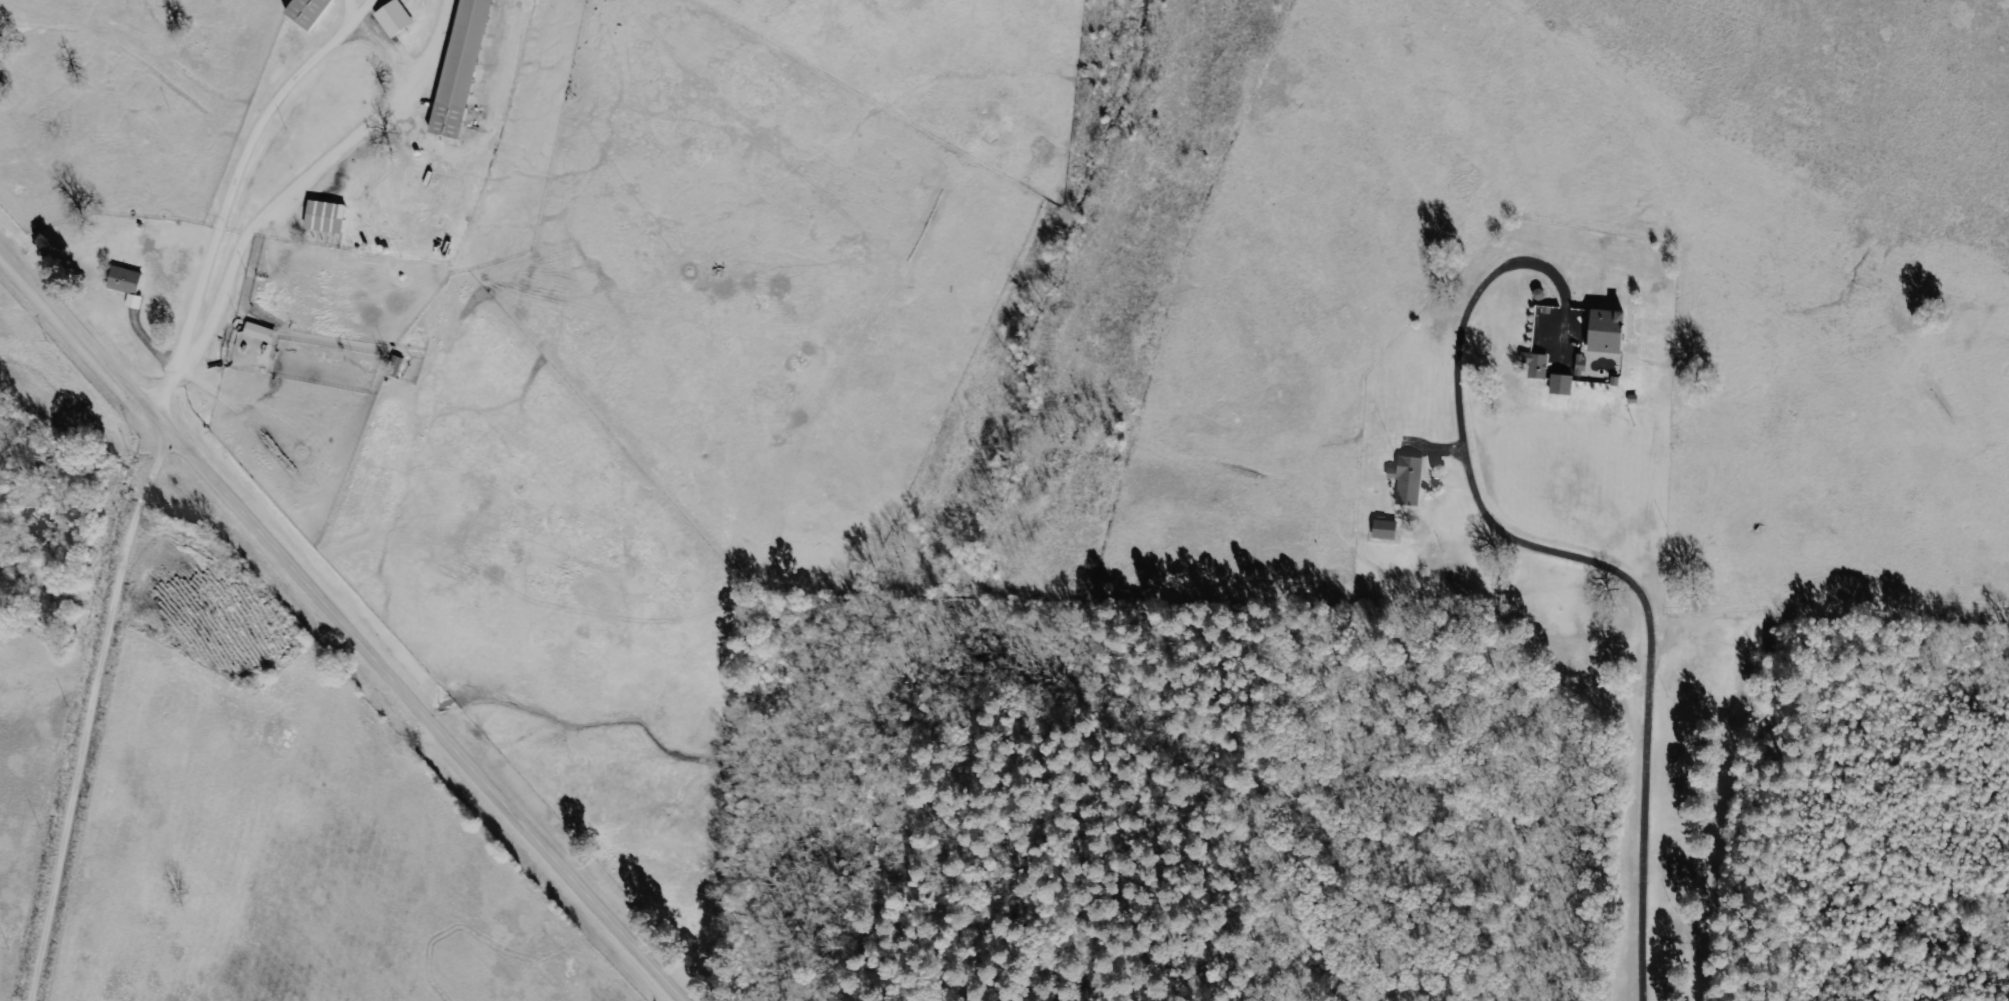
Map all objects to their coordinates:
building: (311, 11)
building: (397, 17)
road: (109, 37)
road: (268, 42)
building: (465, 67)
building: (328, 215)
road: (222, 266)
building: (130, 283)
building: (1613, 330)
building: (263, 331)
building: (1541, 365)
building: (1565, 383)
building: (1411, 479)
park: (50, 509)
building: (1389, 528)
road: (341, 621)
road: (93, 717)

